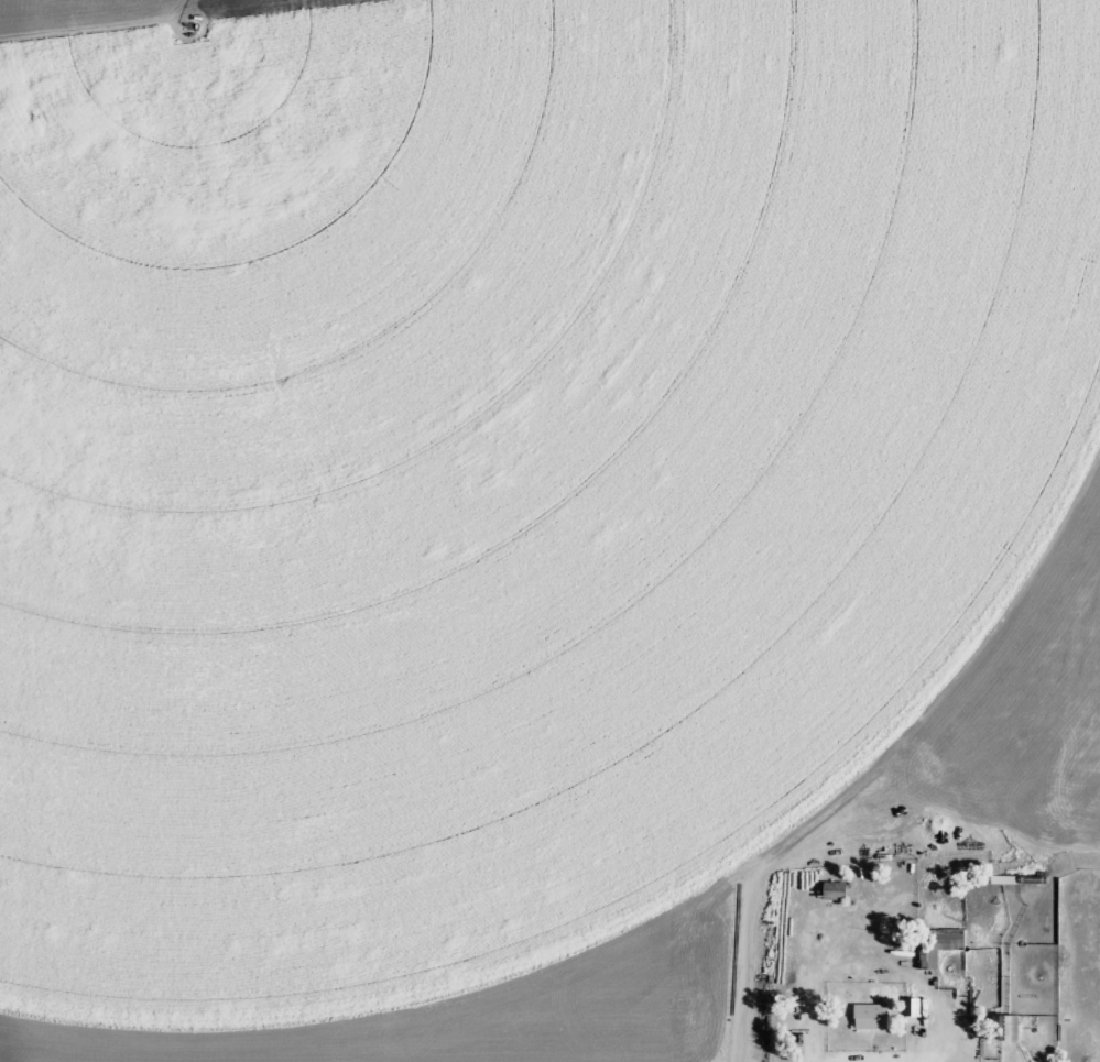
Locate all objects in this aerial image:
road: (58, 530)
road: (804, 1060)

